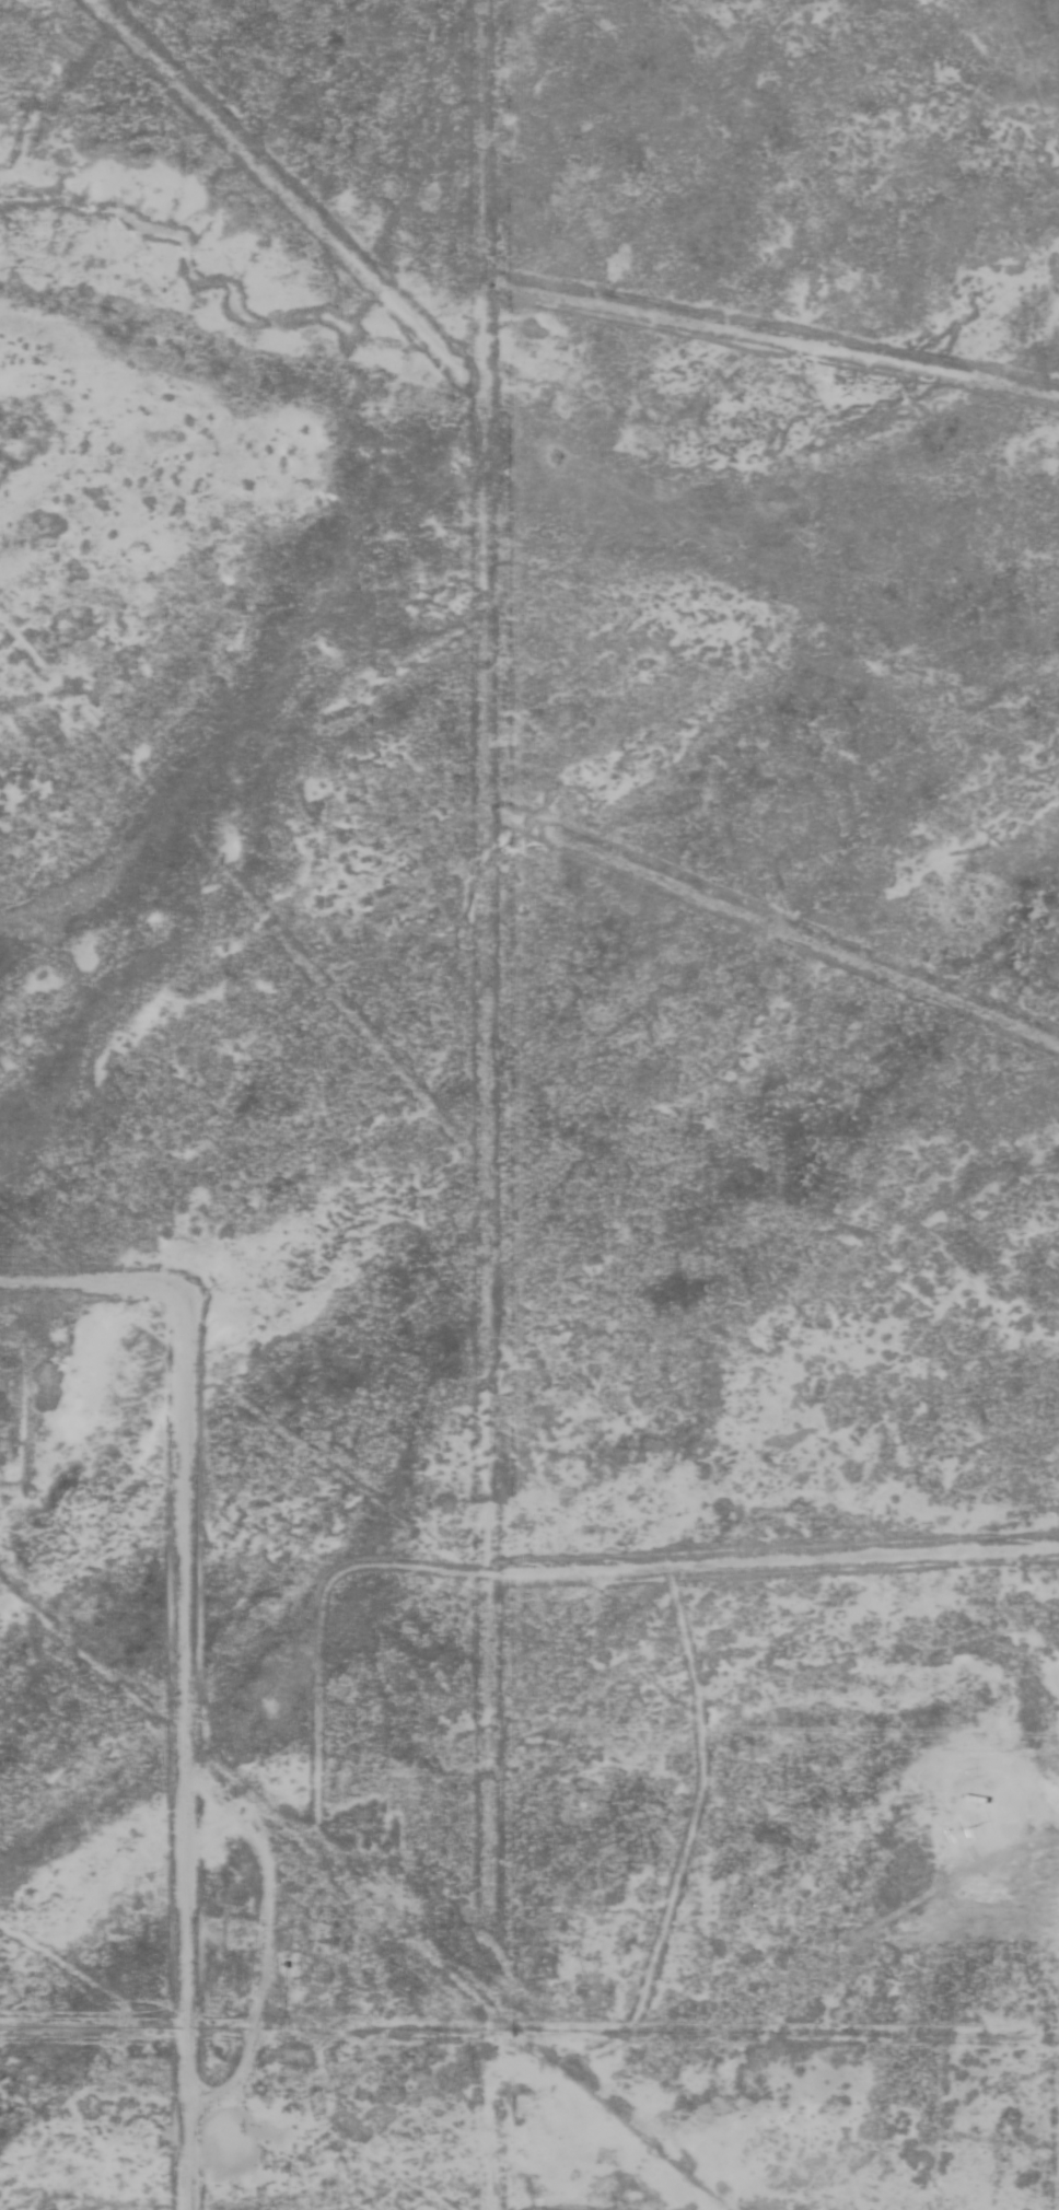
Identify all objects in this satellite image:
road: (181, 1666)
road: (263, 1940)

